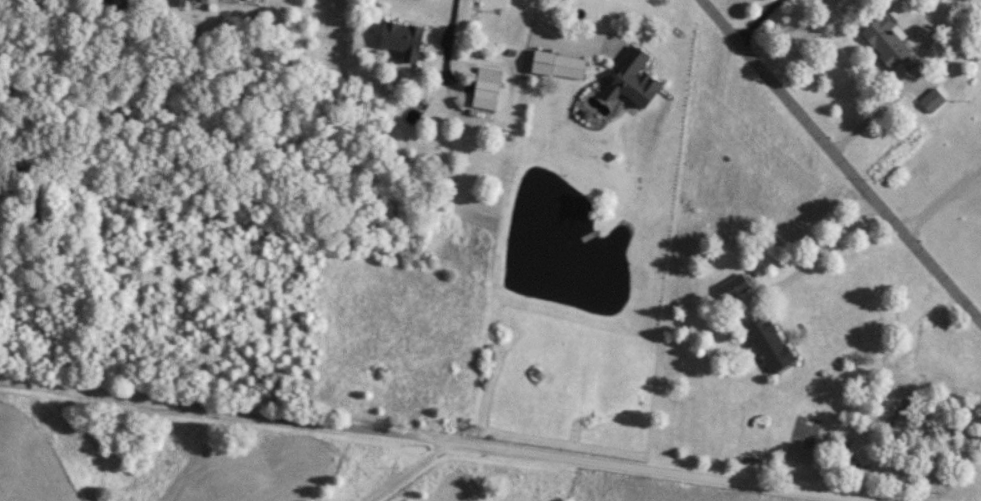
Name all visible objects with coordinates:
road: (755, 20)
road: (544, 33)
building: (403, 37)
building: (890, 44)
road: (436, 53)
building: (560, 65)
building: (635, 79)
building: (488, 88)
building: (934, 100)
road: (871, 116)
road: (841, 161)
road: (940, 198)
road: (831, 238)
building: (736, 286)
building: (771, 344)
road: (437, 440)
road: (410, 471)

